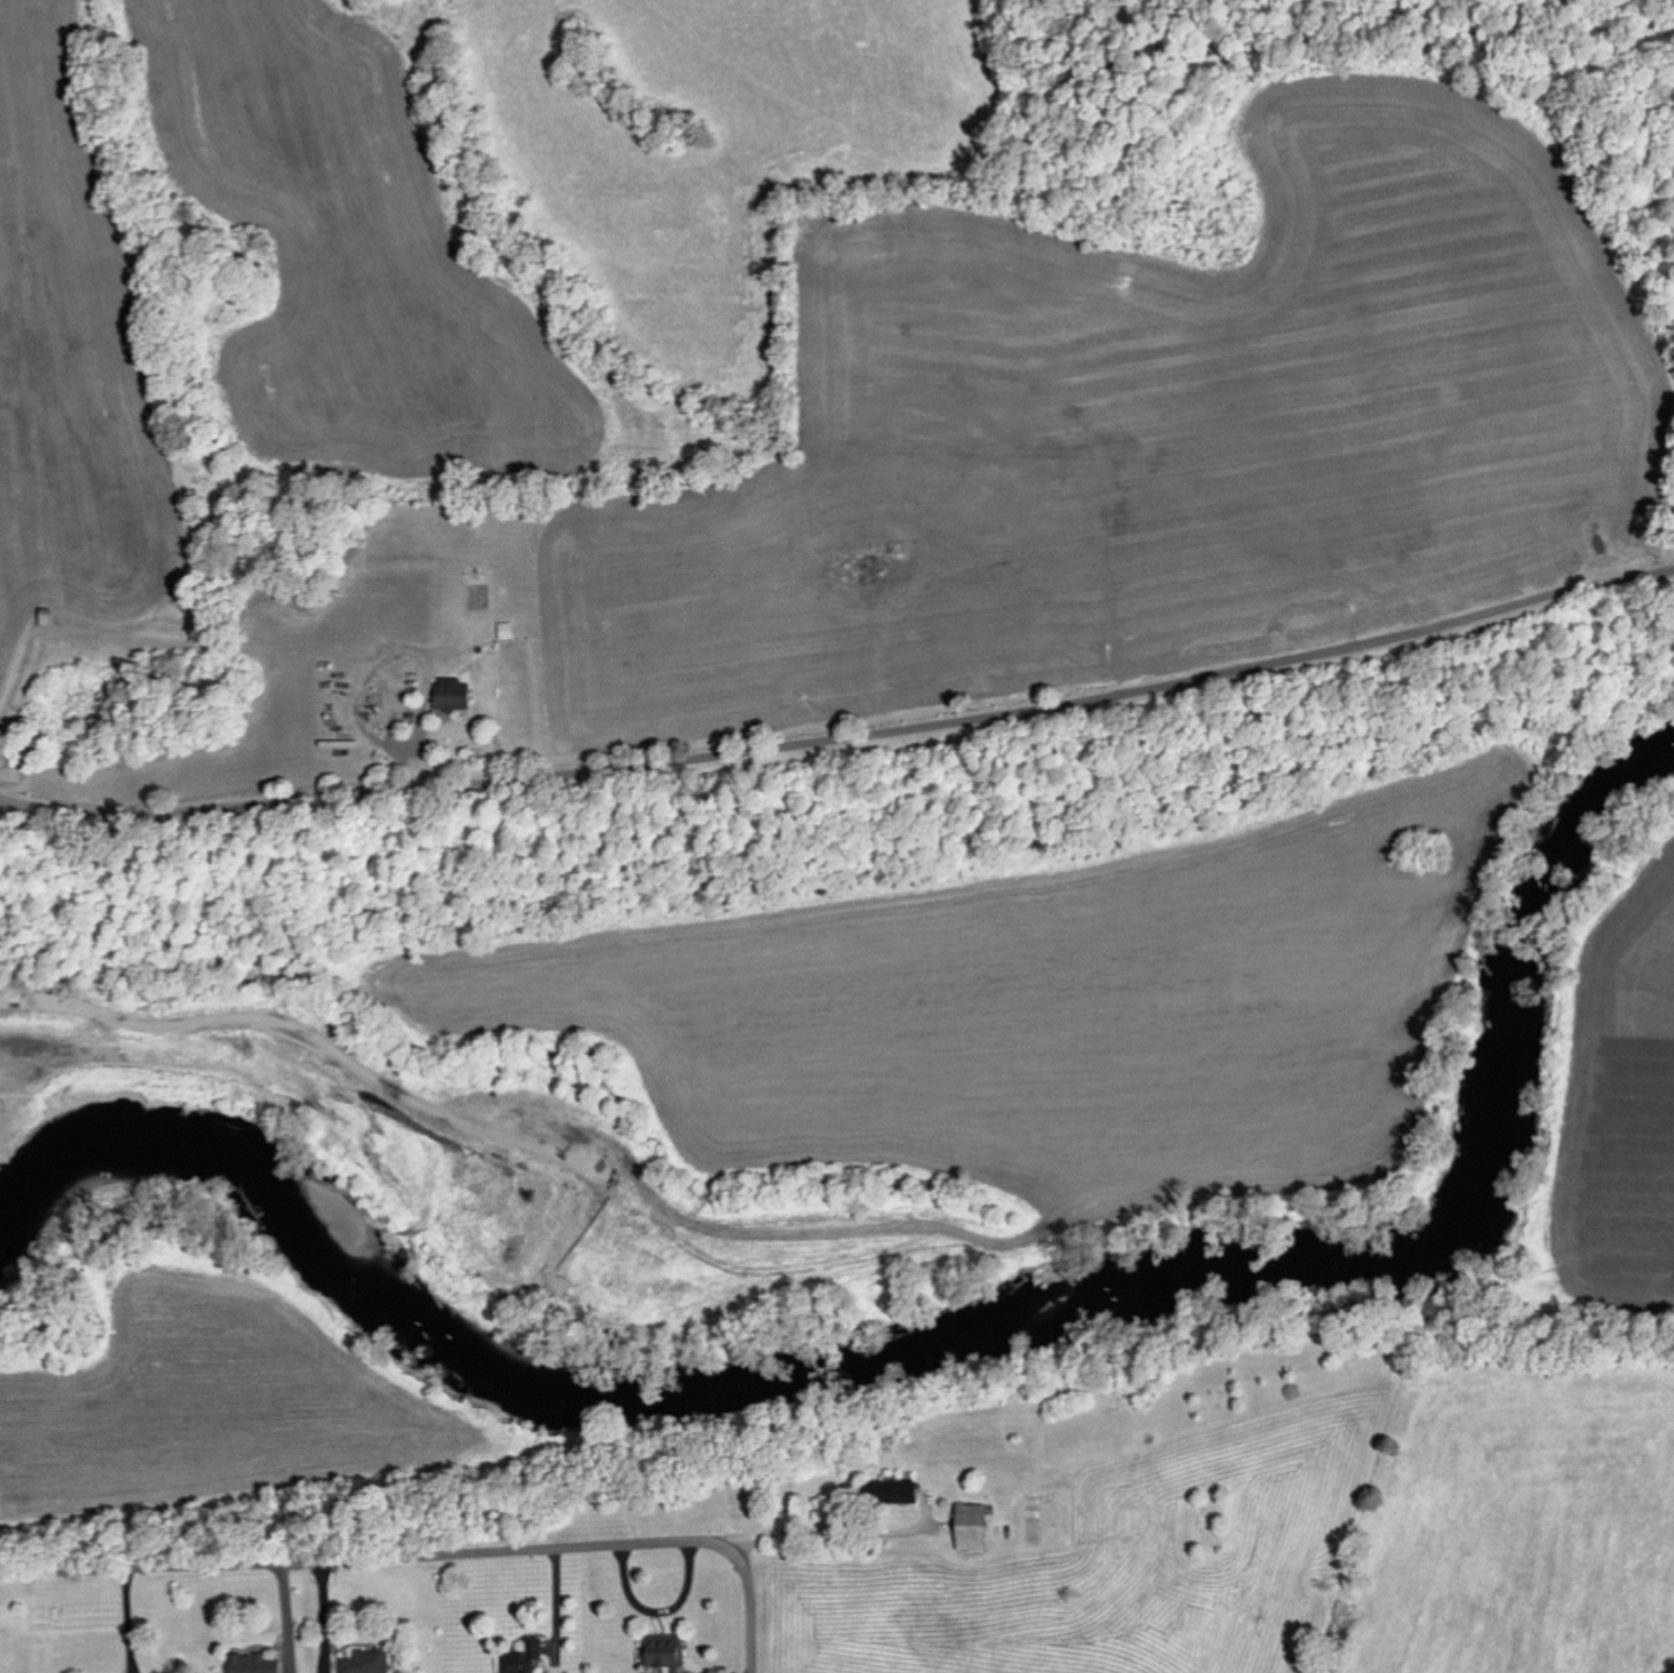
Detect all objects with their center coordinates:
building: (50, 617)
building: (507, 629)
building: (457, 693)
road: (843, 741)
building: (16, 768)
river: (952, 1326)
building: (897, 1491)
building: (977, 1527)
road: (806, 1537)
road: (428, 1559)
road: (556, 1608)
building: (667, 1652)
building: (523, 1660)
building: (369, 1661)
building: (256, 1663)

